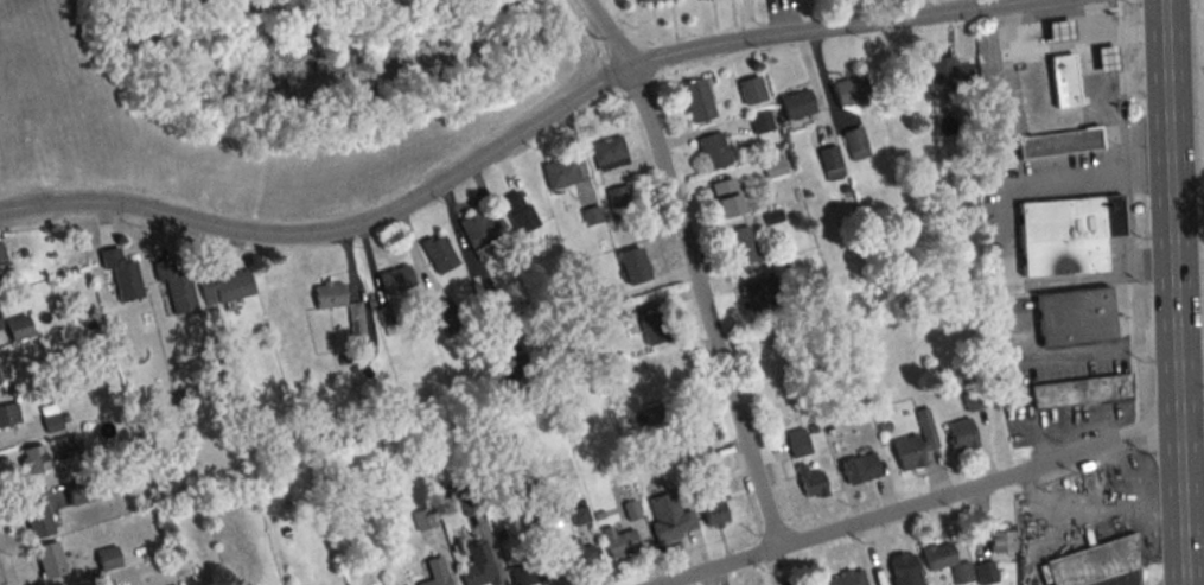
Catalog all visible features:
building: (649, 0)
road: (1024, 1)
building: (1060, 30)
building: (1107, 57)
building: (948, 72)
building: (892, 75)
building: (1064, 80)
building: (852, 89)
building: (752, 91)
building: (697, 100)
building: (797, 104)
building: (762, 122)
road: (517, 138)
building: (855, 142)
building: (1059, 142)
building: (713, 151)
building: (609, 152)
building: (832, 163)
building: (773, 168)
building: (562, 172)
building: (619, 196)
building: (727, 197)
building: (521, 211)
road: (1126, 217)
building: (480, 229)
building: (1069, 234)
building: (743, 246)
building: (441, 253)
building: (1, 256)
building: (635, 266)
road: (689, 268)
building: (121, 273)
building: (397, 278)
building: (176, 285)
building: (227, 286)
building: (763, 292)
road: (1171, 292)
building: (331, 294)
building: (387, 316)
building: (451, 316)
building: (1076, 317)
building: (357, 319)
building: (0, 326)
building: (20, 328)
building: (654, 328)
building: (1082, 392)
building: (972, 396)
building: (652, 414)
building: (9, 415)
building: (51, 419)
building: (962, 434)
building: (800, 441)
building: (916, 443)
building: (66, 447)
building: (34, 459)
building: (861, 468)
building: (813, 482)
building: (709, 487)
building: (82, 491)
building: (472, 503)
road: (922, 504)
building: (580, 515)
building: (670, 517)
building: (425, 519)
building: (38, 520)
building: (620, 541)
building: (1001, 541)
building: (575, 553)
building: (51, 560)
building: (948, 561)
building: (480, 566)
building: (1095, 566)
building: (905, 568)
building: (438, 572)
building: (529, 572)
building: (986, 572)
building: (847, 579)
building: (818, 584)

